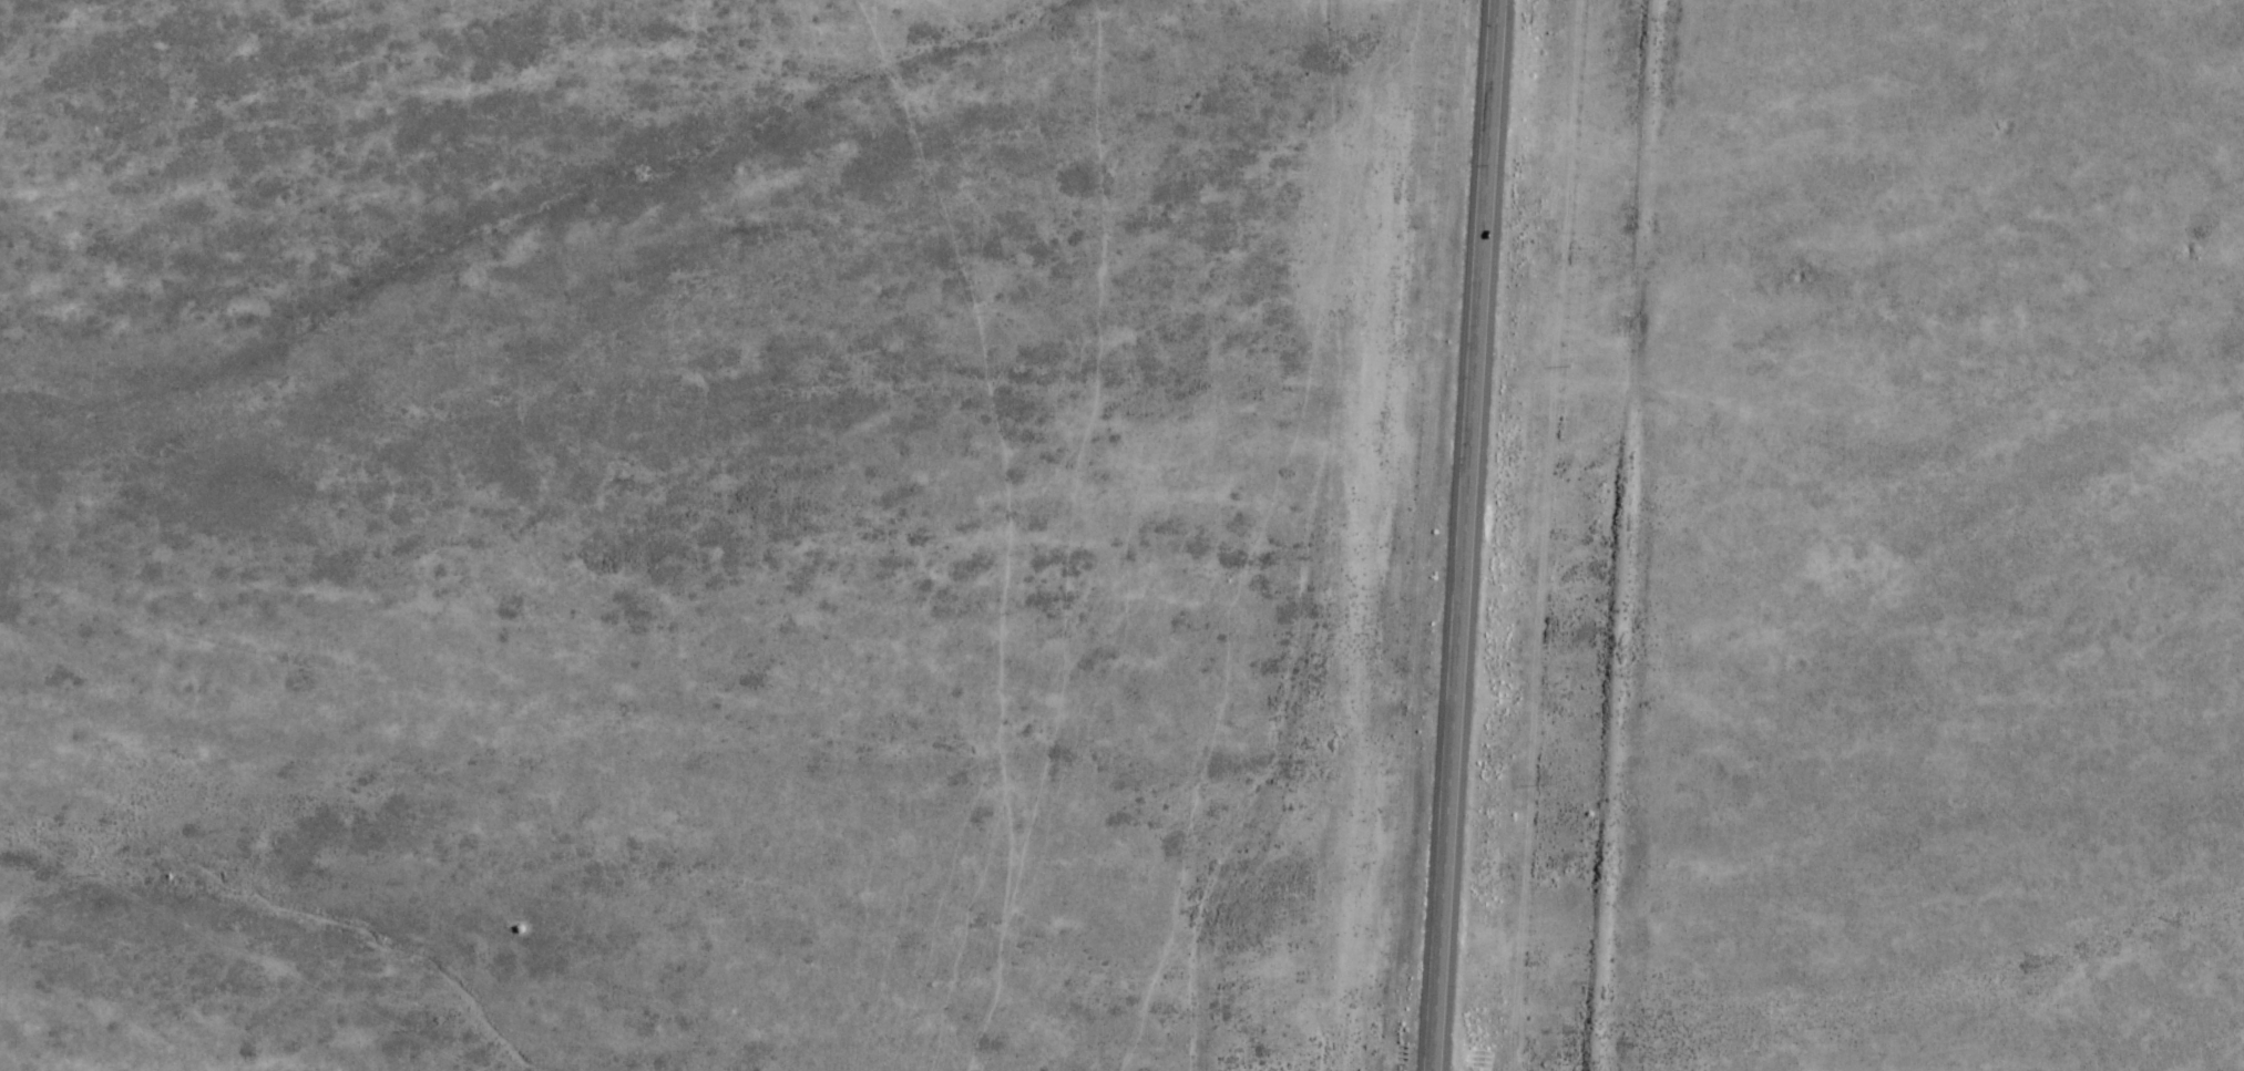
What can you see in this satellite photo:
road: (1465, 535)

